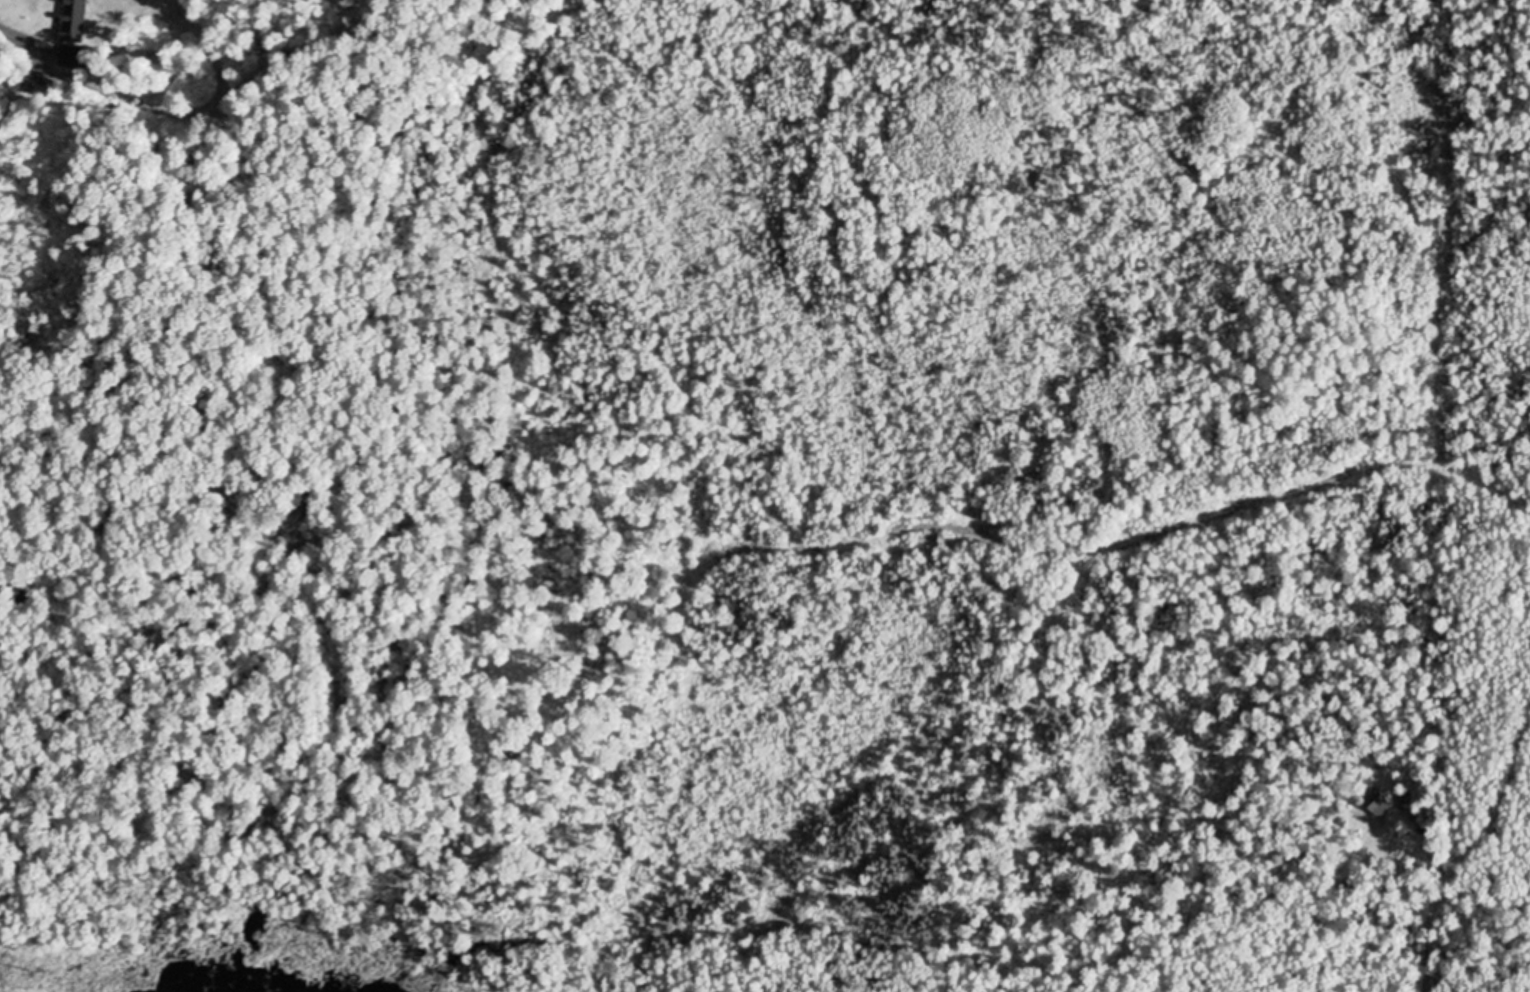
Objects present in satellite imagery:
building: (72, 20)
road: (11, 36)
road: (1485, 861)
power tower: (26, 966)

